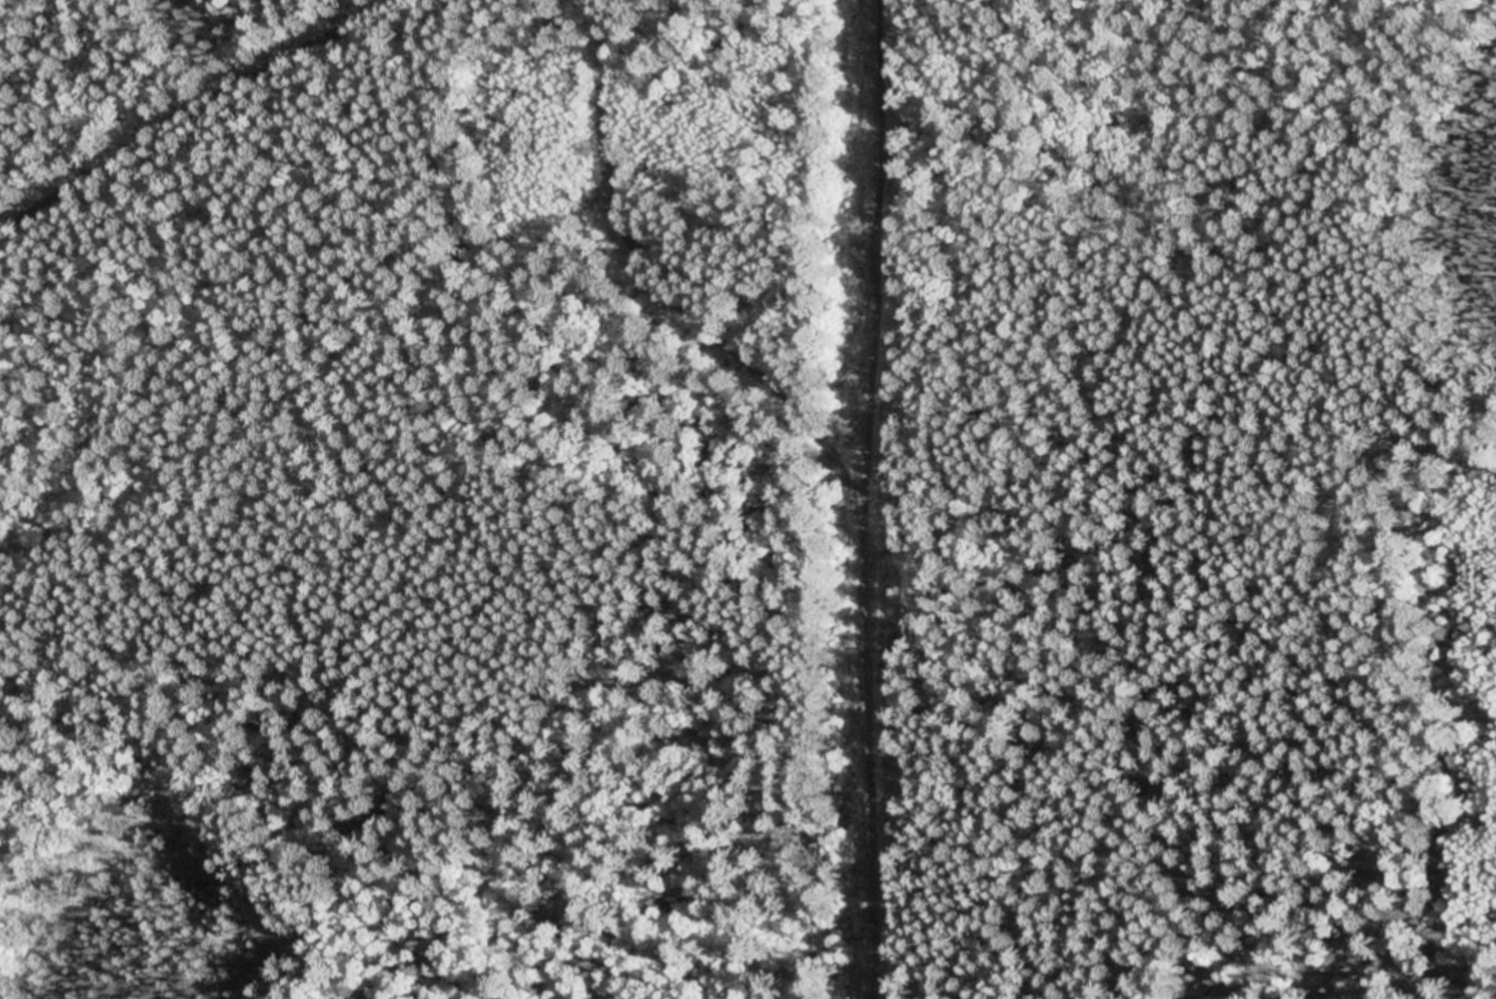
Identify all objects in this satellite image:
road: (195, 110)

